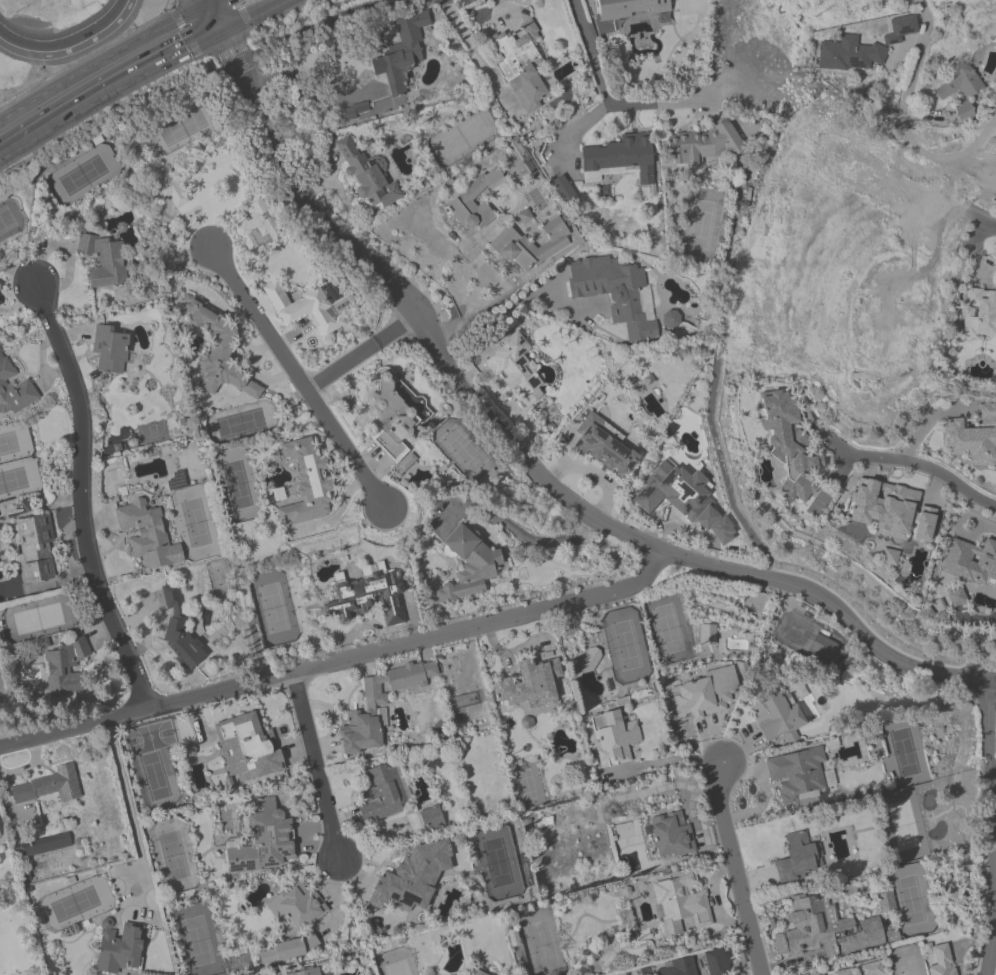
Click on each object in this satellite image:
road: (203, 4)
traffic signals: (196, 8)
building: (630, 9)
road: (226, 10)
road: (256, 10)
road: (200, 15)
traffic signals: (233, 21)
road: (222, 26)
road: (317, 27)
building: (901, 29)
traffic signals: (211, 32)
road: (233, 36)
road: (222, 41)
road: (71, 46)
road: (475, 52)
building: (402, 53)
building: (850, 55)
road: (97, 62)
building: (521, 67)
road: (602, 76)
road: (103, 87)
building: (961, 92)
road: (656, 106)
road: (906, 121)
building: (700, 146)
building: (617, 160)
building: (368, 177)
building: (169, 187)
building: (562, 189)
building: (474, 201)
building: (524, 216)
road: (210, 219)
building: (259, 226)
building: (530, 244)
building: (105, 261)
building: (619, 292)
road: (473, 302)
road: (514, 304)
building: (304, 308)
building: (980, 313)
building: (670, 321)
building: (887, 325)
building: (110, 349)
road: (361, 353)
building: (219, 354)
building: (513, 366)
road: (299, 379)
building: (14, 389)
building: (390, 419)
building: (973, 437)
building: (789, 445)
building: (604, 446)
road: (918, 464)
road: (527, 467)
road: (725, 470)
building: (306, 482)
building: (671, 492)
road: (83, 498)
building: (884, 508)
building: (925, 524)
road: (516, 530)
building: (148, 535)
building: (35, 549)
building: (972, 563)
building: (468, 566)
building: (171, 596)
building: (957, 597)
building: (368, 599)
building: (707, 634)
building: (181, 645)
building: (589, 659)
road: (339, 661)
building: (64, 667)
building: (530, 684)
road: (991, 687)
building: (704, 694)
building: (379, 706)
building: (776, 715)
building: (614, 738)
building: (247, 748)
road: (991, 757)
road: (668, 761)
road: (318, 765)
building: (799, 773)
building: (49, 787)
building: (382, 794)
road: (130, 817)
building: (670, 835)
building: (0, 840)
building: (264, 841)
building: (797, 859)
road: (735, 869)
building: (412, 878)
building: (680, 904)
building: (296, 908)
building: (815, 932)
building: (119, 950)
building: (288, 950)
road: (992, 955)
building: (941, 961)
building: (716, 962)
building: (677, 967)
building: (306, 972)
building: (839, 972)
building: (478, 973)

